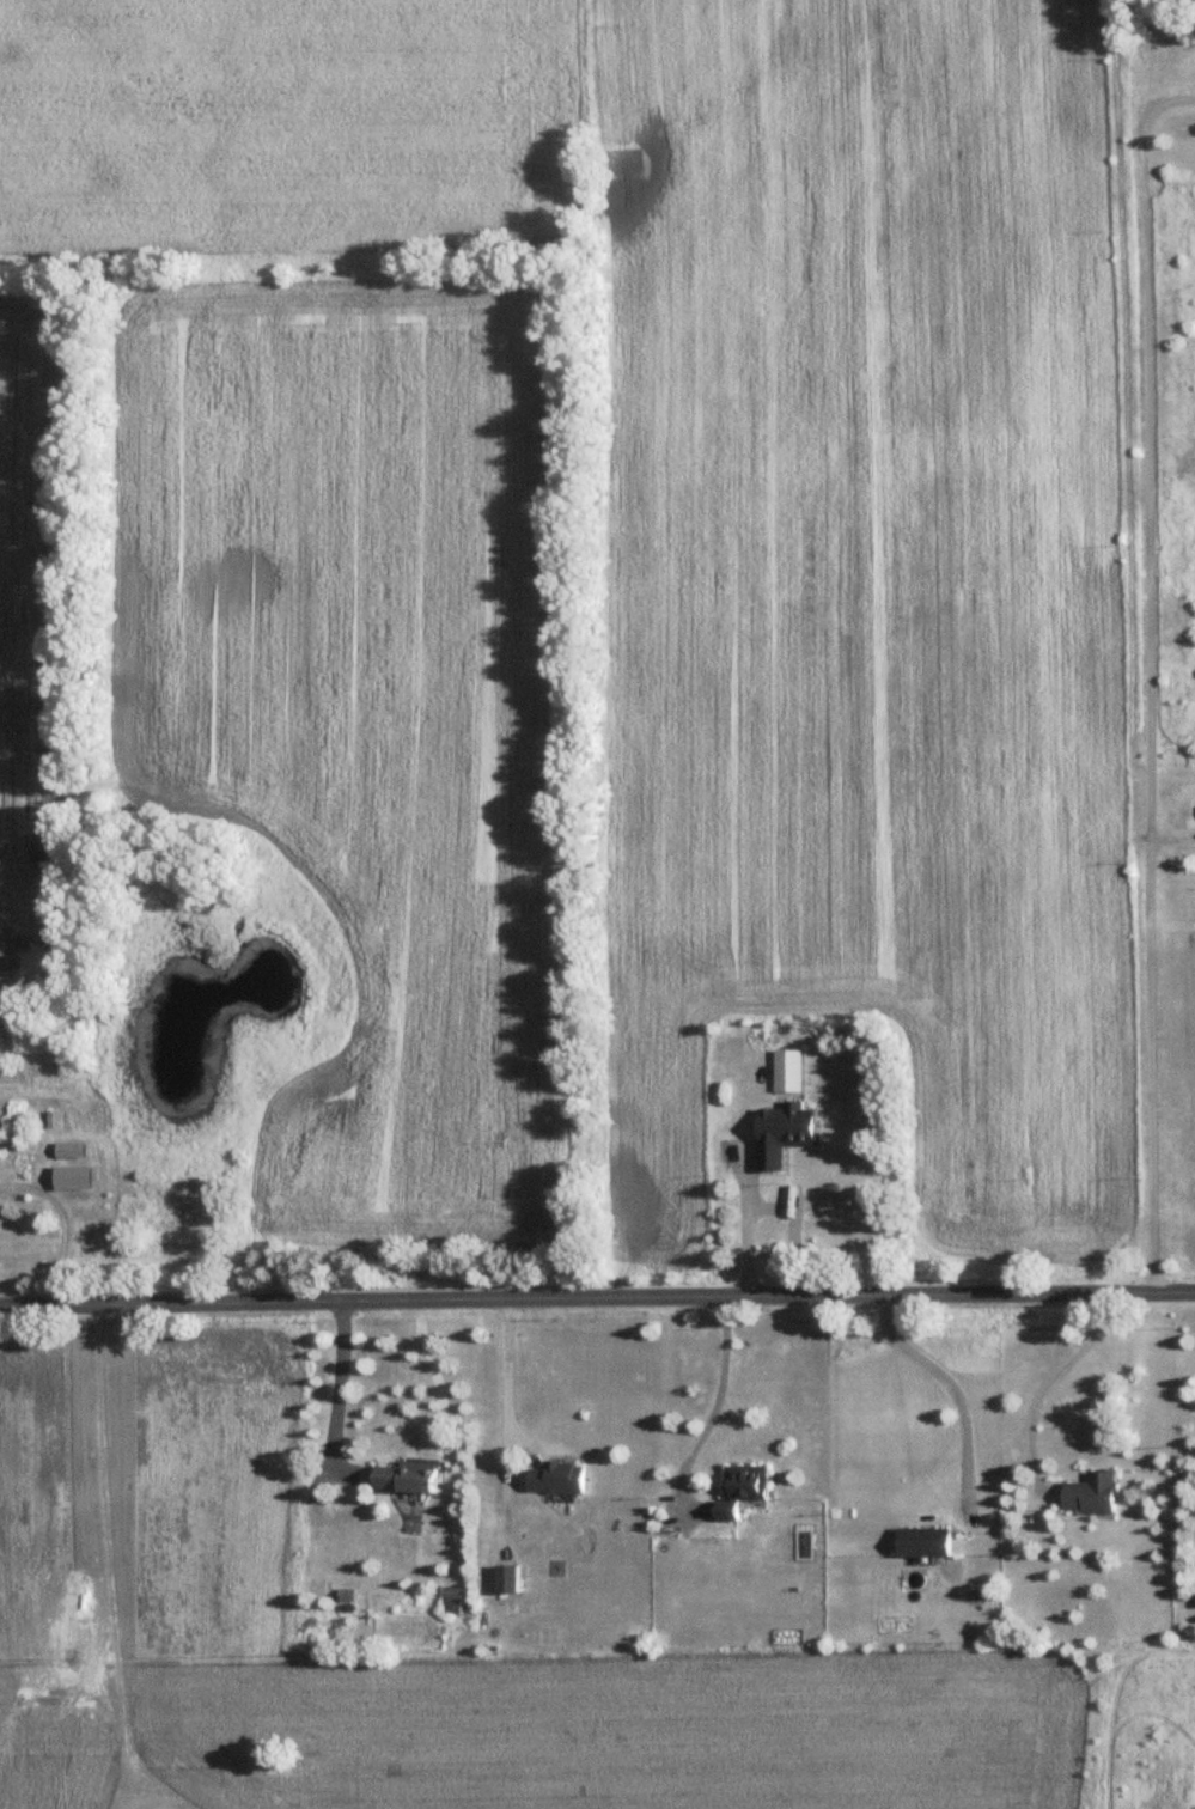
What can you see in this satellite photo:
road: (1169, 102)
road: (1151, 706)
building: (774, 1064)
building: (68, 1151)
building: (72, 1177)
building: (828, 1200)
road: (767, 1205)
road: (63, 1224)
road: (597, 1302)
road: (507, 1376)
road: (1048, 1384)
road: (339, 1387)
road: (947, 1389)
road: (713, 1408)
building: (406, 1476)
building: (557, 1478)
building: (742, 1488)
building: (1092, 1493)
building: (925, 1542)
building: (506, 1579)
building: (452, 1600)

